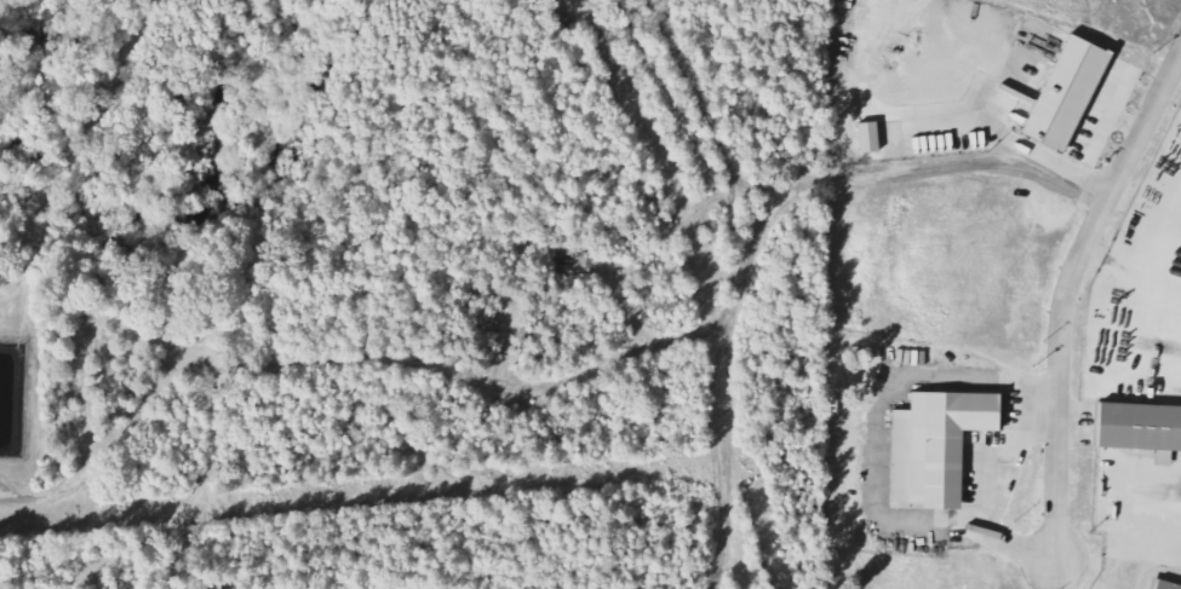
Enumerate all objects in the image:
building: (1068, 94)
road: (1134, 262)
road: (1065, 290)
road: (573, 381)
road: (836, 385)
building: (1140, 425)
building: (939, 446)
road: (721, 457)
road: (1119, 507)
road: (1062, 574)
building: (1165, 584)

